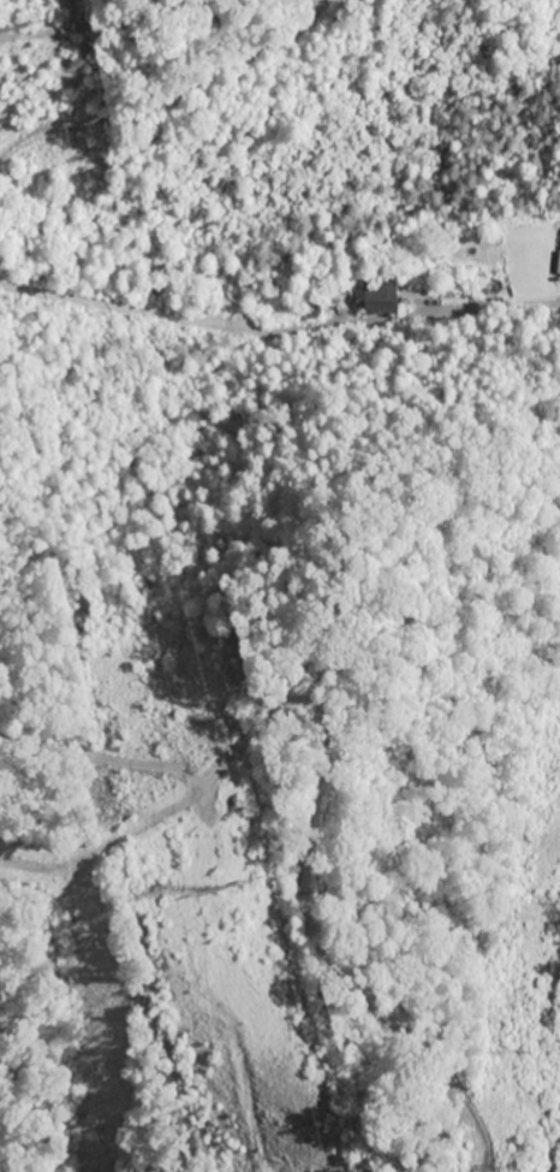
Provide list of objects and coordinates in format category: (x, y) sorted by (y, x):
power tower: (12, 72)
building: (376, 296)
power tower: (221, 922)

